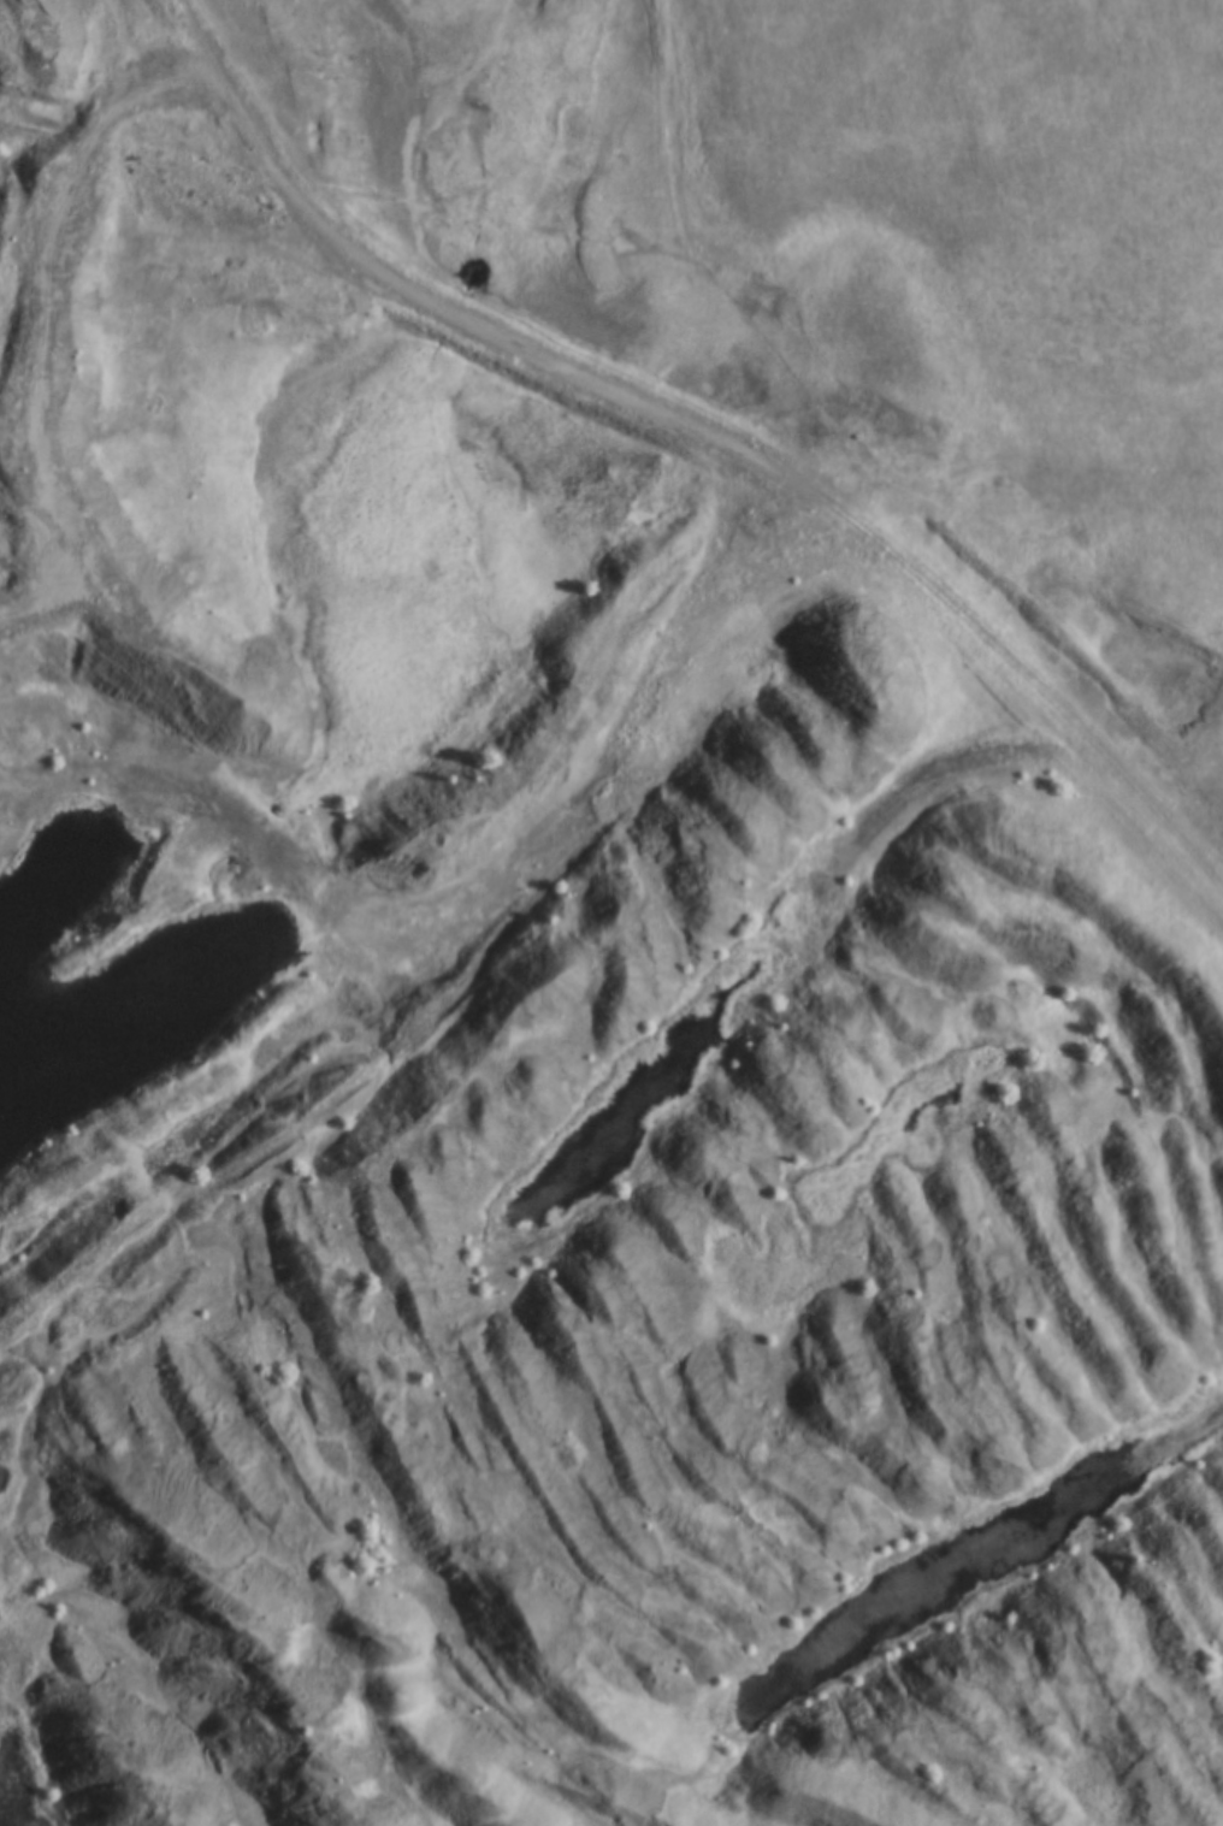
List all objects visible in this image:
road: (699, 429)
quarry: (555, 1057)

